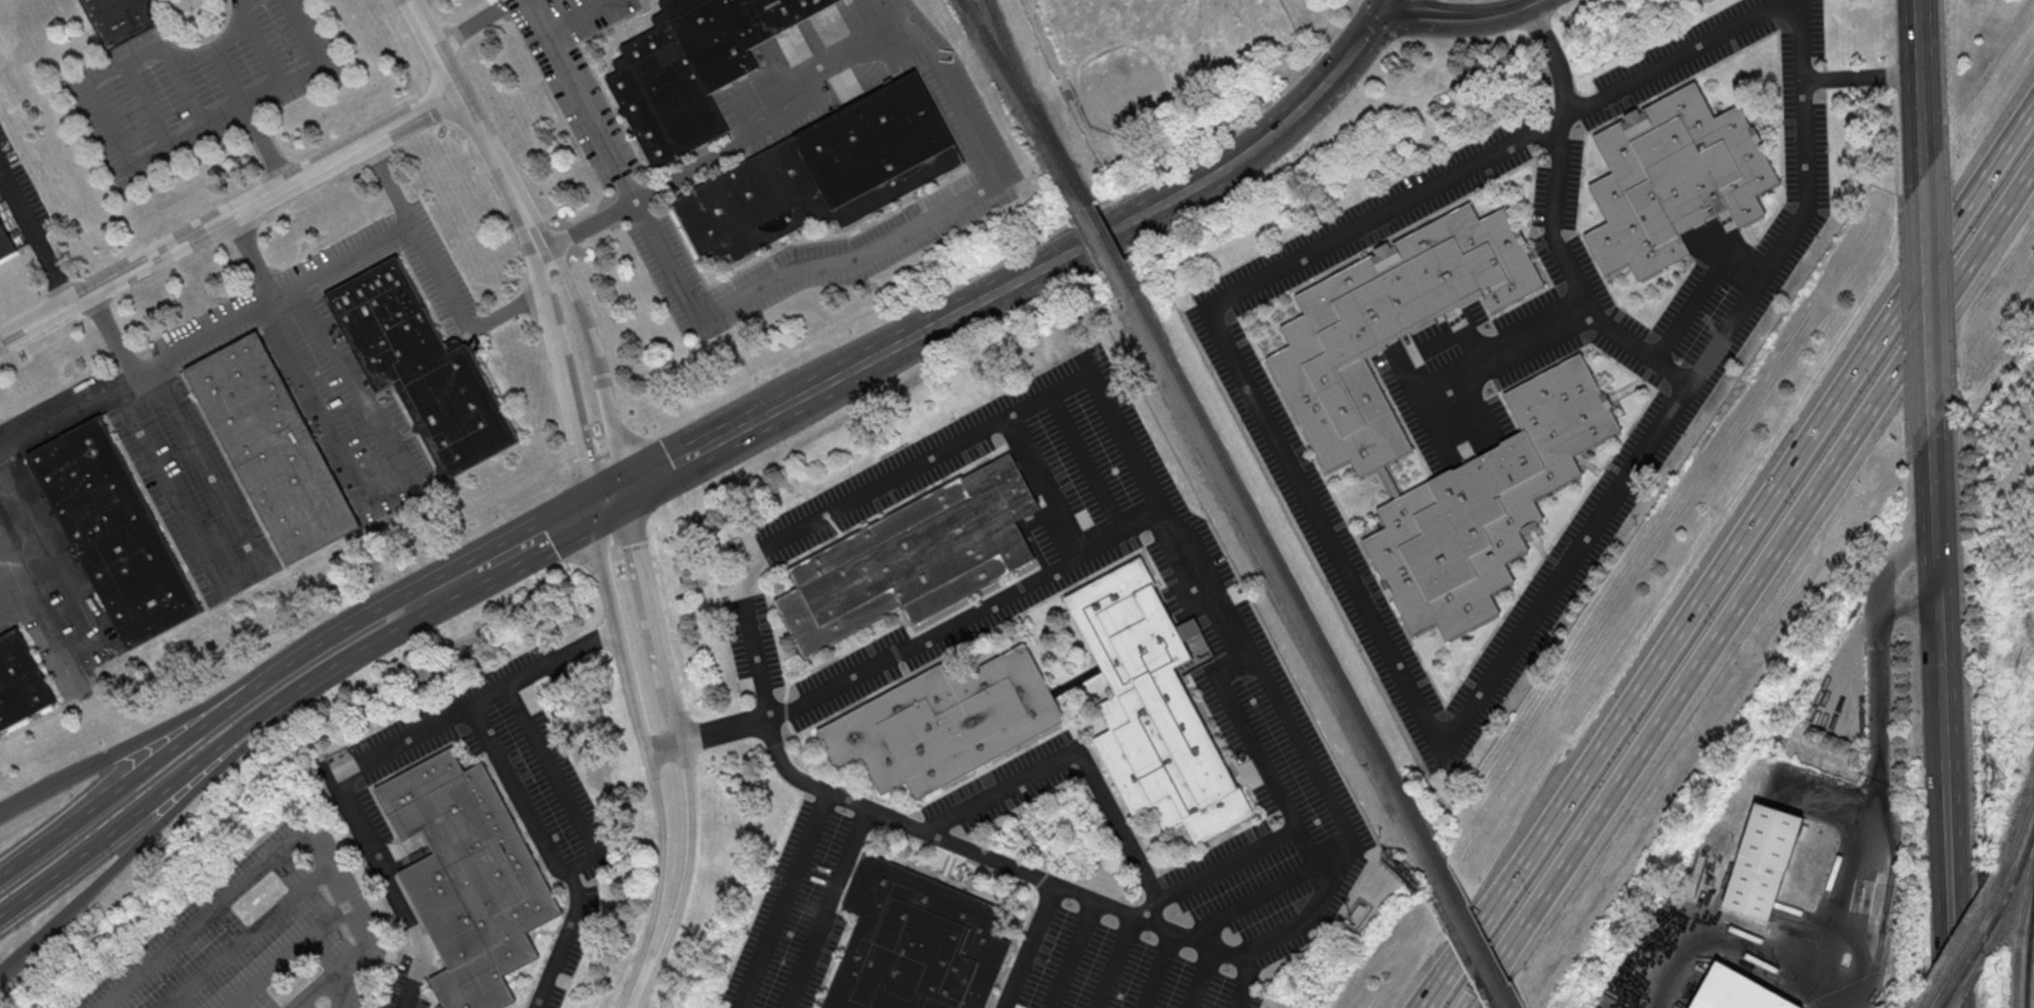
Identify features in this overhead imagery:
road: (1386, 2)
traffic signals: (1386, 4)
road: (1504, 14)
road: (1425, 15)
building: (121, 18)
road: (471, 23)
road: (263, 49)
parking lot: (1707, 50)
building: (695, 67)
road: (1861, 77)
road: (1921, 87)
road: (188, 89)
railway: (1029, 95)
railway: (1024, 98)
road: (149, 105)
road: (249, 118)
road: (775, 124)
road: (473, 126)
road: (130, 163)
building: (825, 173)
building: (1674, 178)
road: (392, 182)
road: (1984, 182)
parking lot: (1558, 187)
parking lot: (20, 198)
road: (18, 203)
road: (228, 216)
road: (588, 226)
road: (1985, 229)
railway: (1101, 231)
building: (5, 241)
road: (253, 257)
road: (53, 269)
road: (793, 273)
road: (1025, 274)
road: (1570, 274)
road: (1699, 290)
road: (1928, 303)
parking lot: (1476, 312)
building: (1389, 326)
road: (1456, 331)
road: (112, 334)
road: (1498, 342)
parking lot: (1444, 347)
road: (182, 351)
road: (594, 365)
building: (422, 367)
road: (561, 381)
road: (1470, 386)
road: (1423, 404)
parking lot: (1439, 416)
road: (1490, 423)
road: (1114, 432)
building: (273, 448)
road: (0, 451)
parking lot: (1083, 457)
road: (1088, 467)
road: (383, 482)
road: (1046, 488)
parking lot: (191, 490)
traffic signals: (623, 491)
road: (606, 500)
building: (1487, 503)
traffic signals: (589, 509)
parking lot: (1315, 512)
building: (114, 531)
parking lot: (1576, 548)
road: (1729, 556)
railway: (1275, 557)
building: (912, 558)
road: (497, 559)
road: (14, 563)
road: (41, 570)
road: (240, 577)
road: (1536, 603)
road: (1940, 607)
road: (1909, 608)
road: (48, 628)
road: (364, 637)
road: (907, 649)
road: (1701, 654)
building: (20, 682)
road: (486, 698)
building: (1153, 707)
road: (202, 710)
building: (945, 722)
road: (197, 733)
road: (1878, 742)
road: (679, 744)
road: (644, 749)
road: (1307, 753)
road: (553, 770)
road: (1090, 772)
road: (340, 777)
power tower: (1997, 783)
road: (512, 787)
road: (161, 790)
road: (358, 819)
road: (161, 822)
railway: (2012, 853)
road: (275, 854)
building: (1763, 860)
road: (579, 863)
road: (566, 875)
building: (468, 876)
railway: (2013, 883)
parking lot: (347, 888)
parking lot: (1255, 893)
road: (1956, 895)
road: (1263, 896)
road: (787, 898)
road: (397, 899)
road: (826, 906)
parking lot: (802, 909)
building: (1358, 913)
railway: (2032, 925)
railway: (1473, 930)
road: (1472, 933)
railway: (2020, 934)
road: (1281, 935)
road: (247, 938)
parking lot: (236, 940)
road: (1719, 942)
building: (916, 943)
road: (1030, 944)
road: (557, 948)
road: (1072, 953)
railway: (2029, 953)
road: (288, 957)
railway: (1955, 957)
road: (1115, 961)
road: (1157, 969)
parking lot: (1115, 971)
railway: (1962, 971)
road: (330, 976)
road: (1200, 976)
parking lot: (356, 977)
road: (412, 981)
road: (1241, 982)
road: (1826, 990)
building: (1736, 991)
road: (630, 999)

